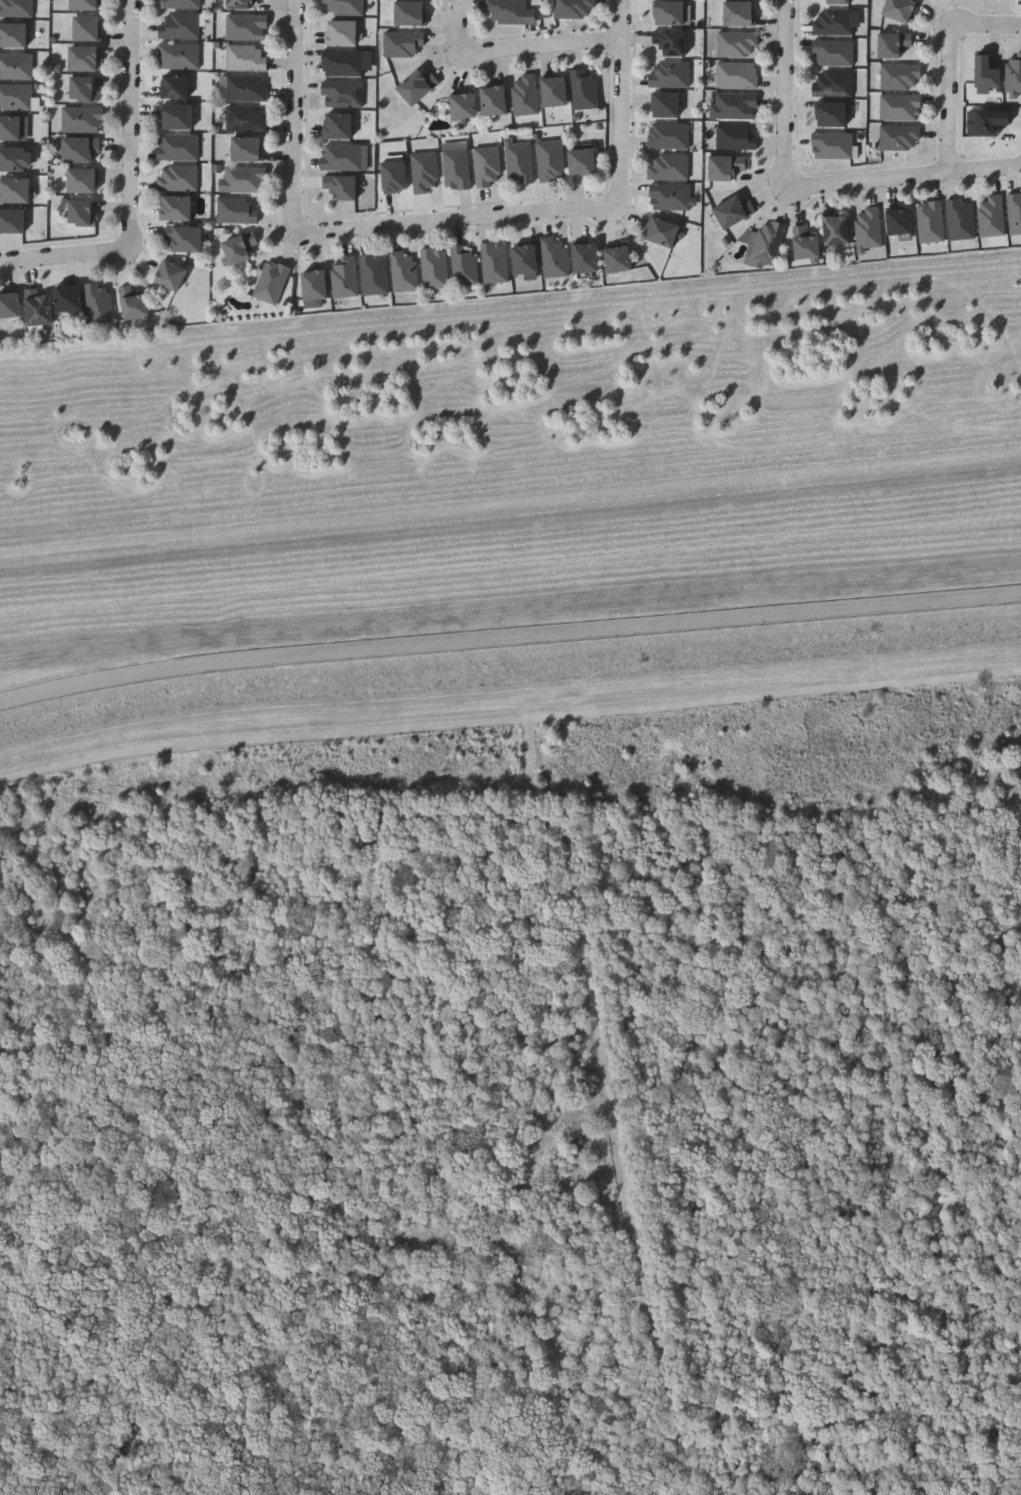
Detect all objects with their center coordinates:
building: (839, 2)
building: (180, 4)
building: (240, 4)
building: (85, 5)
building: (344, 6)
building: (16, 8)
building: (574, 8)
building: (901, 10)
building: (510, 12)
building: (670, 13)
building: (411, 14)
building: (740, 14)
building: (834, 22)
road: (996, 24)
building: (179, 26)
road: (460, 26)
building: (246, 27)
building: (87, 28)
building: (342, 33)
building: (13, 35)
building: (671, 42)
building: (404, 44)
building: (738, 44)
building: (894, 44)
road: (545, 47)
building: (834, 53)
building: (179, 55)
building: (246, 57)
building: (84, 59)
building: (343, 63)
building: (16, 66)
building: (1019, 72)
building: (669, 74)
building: (737, 75)
building: (987, 75)
building: (1012, 76)
building: (901, 77)
building: (834, 83)
building: (175, 86)
building: (418, 86)
building: (246, 88)
building: (585, 88)
building: (82, 89)
building: (556, 92)
building: (343, 93)
road: (951, 94)
building: (526, 95)
building: (15, 96)
building: (495, 101)
road: (787, 101)
road: (623, 102)
building: (667, 105)
building: (464, 106)
building: (736, 106)
building: (900, 107)
building: (832, 115)
road: (296, 116)
building: (177, 117)
building: (246, 118)
building: (82, 119)
road: (131, 122)
building: (992, 122)
building: (338, 126)
building: (11, 128)
building: (669, 136)
building: (736, 136)
building: (900, 137)
building: (832, 145)
building: (178, 147)
building: (247, 148)
building: (80, 150)
building: (345, 157)
building: (15, 159)
building: (550, 160)
building: (518, 161)
building: (583, 161)
building: (456, 165)
building: (488, 166)
building: (726, 166)
building: (669, 167)
building: (425, 172)
building: (395, 177)
road: (913, 177)
building: (244, 179)
building: (83, 181)
building: (341, 186)
building: (15, 190)
building: (671, 196)
building: (177, 208)
building: (236, 210)
building: (734, 211)
building: (81, 212)
building: (1013, 213)
building: (1019, 214)
building: (991, 216)
building: (961, 219)
building: (12, 221)
road: (459, 221)
building: (930, 221)
building: (900, 222)
building: (869, 228)
building: (837, 230)
building: (664, 232)
building: (184, 239)
building: (765, 242)
building: (806, 244)
building: (240, 248)
road: (63, 256)
building: (554, 257)
building: (586, 258)
building: (619, 259)
building: (495, 261)
building: (526, 261)
building: (464, 264)
building: (434, 268)
building: (403, 271)
building: (374, 274)
building: (172, 276)
building: (344, 277)
building: (270, 283)
building: (315, 285)
building: (69, 299)
building: (98, 303)
building: (134, 303)
building: (10, 306)
building: (38, 308)
road: (509, 639)
park: (521, 1112)

